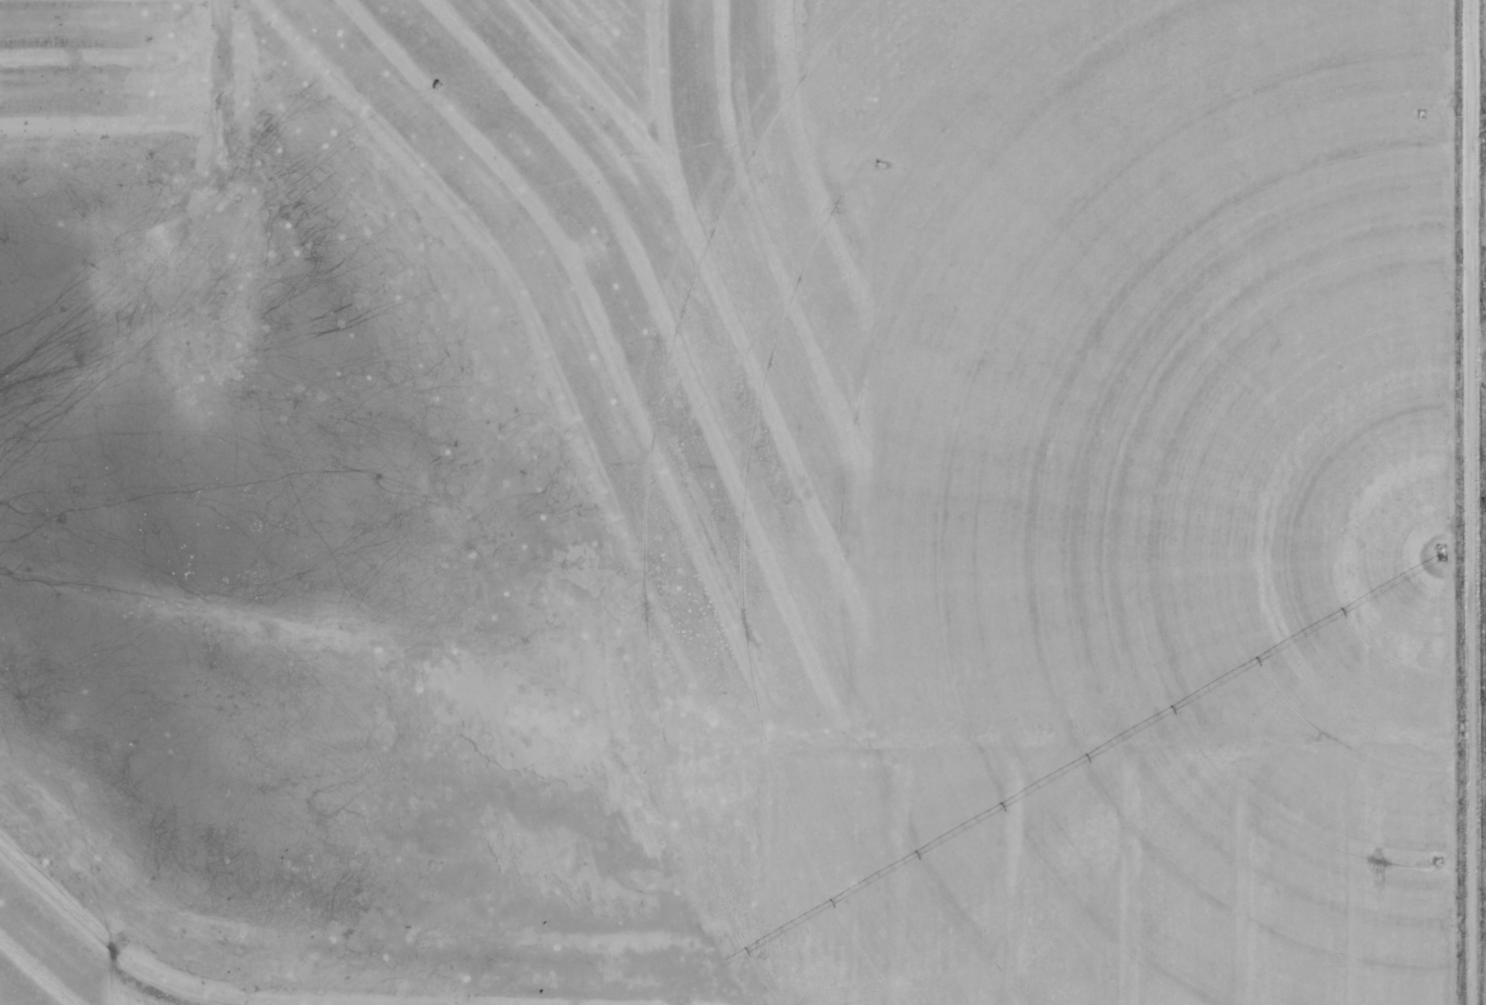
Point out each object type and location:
road: (1474, 502)

